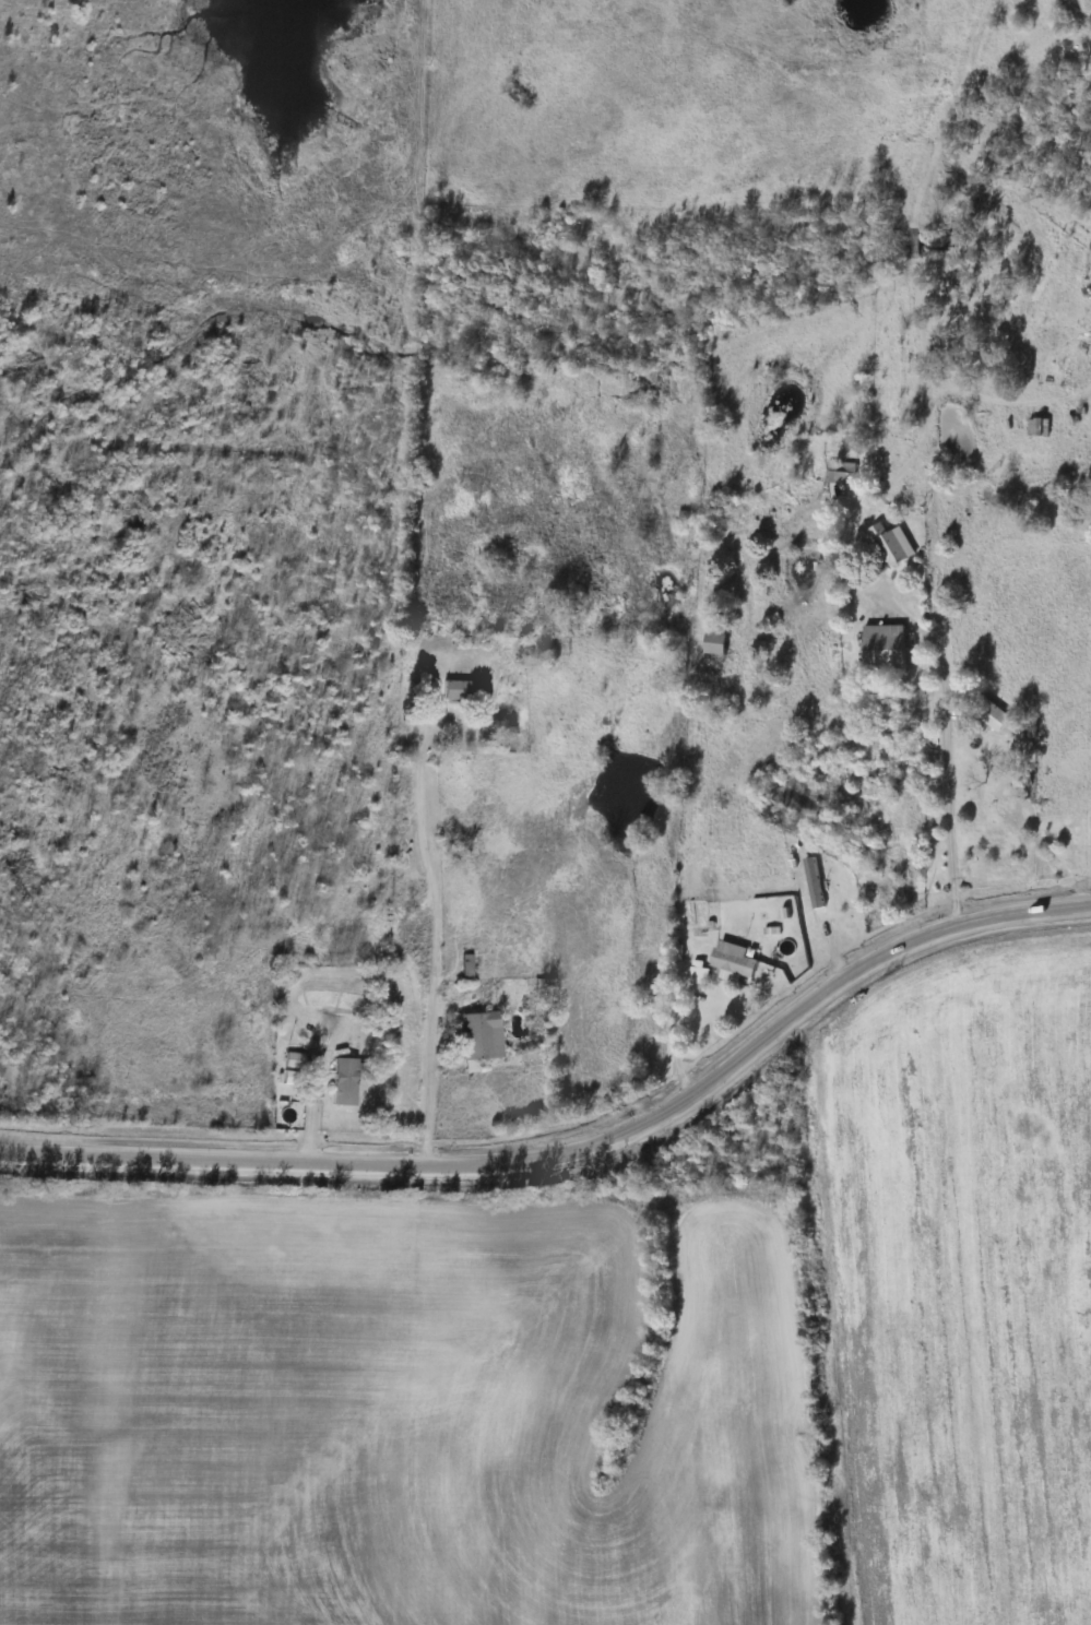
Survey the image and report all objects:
building: (839, 474)
building: (890, 544)
road: (928, 603)
building: (712, 644)
building: (881, 651)
building: (460, 690)
building: (987, 714)
building: (874, 775)
building: (813, 883)
road: (438, 940)
building: (727, 958)
building: (463, 966)
building: (697, 976)
building: (476, 1035)
road: (676, 1035)
building: (340, 1082)
road: (579, 1147)

